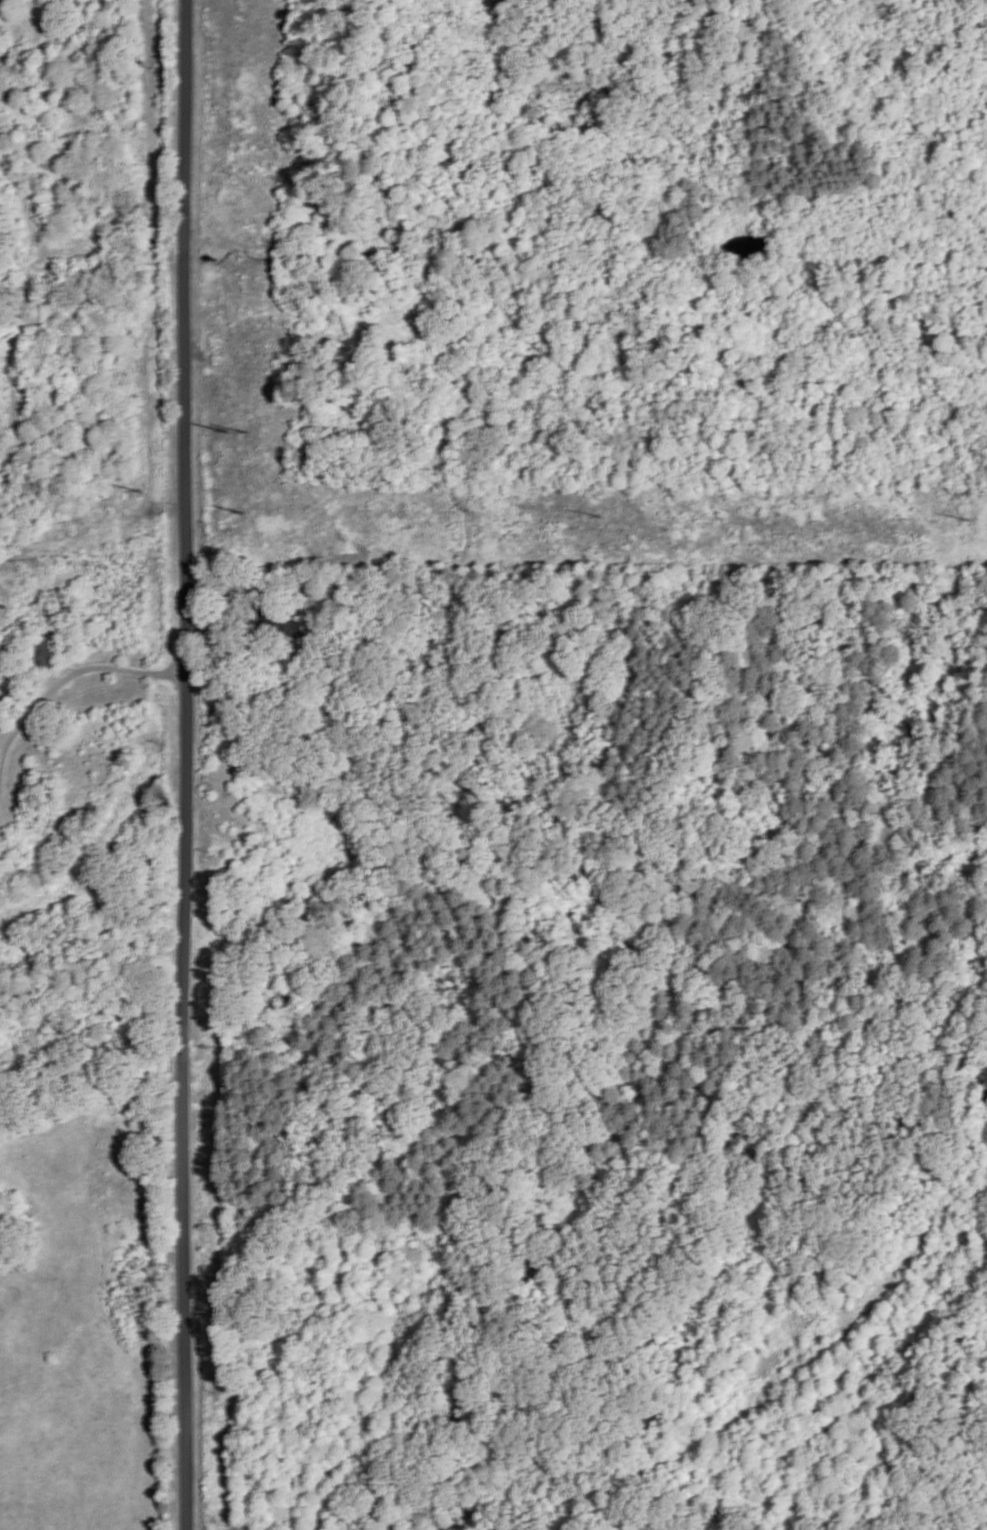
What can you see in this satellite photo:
building: (40, 649)
road: (74, 673)
road: (183, 764)

